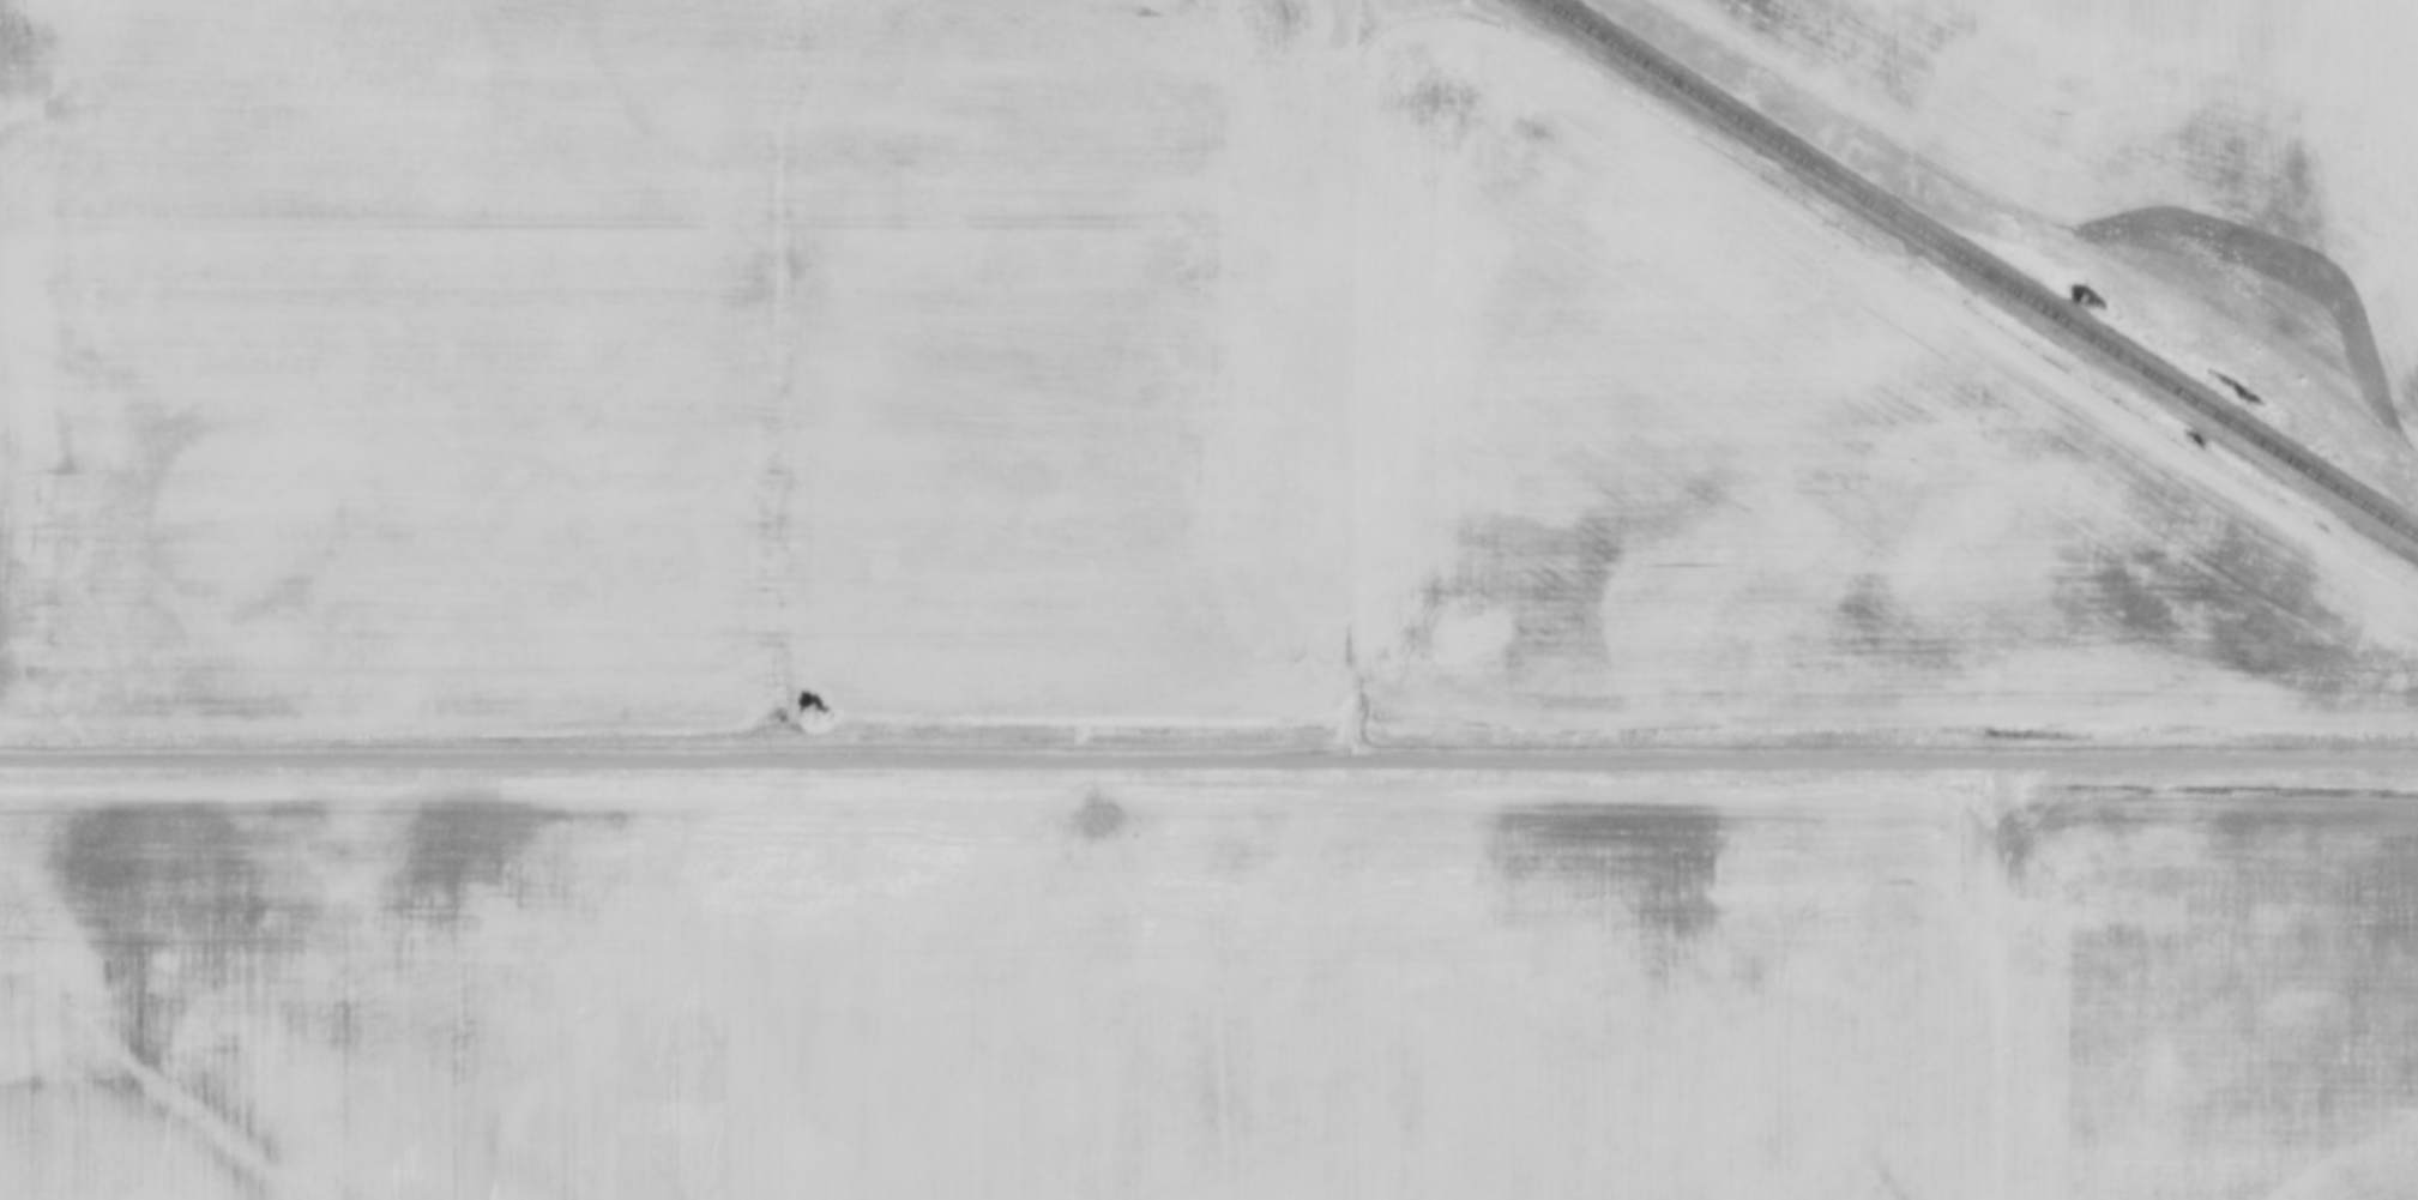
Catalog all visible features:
railway: (1977, 267)
road: (1323, 384)
road: (1208, 761)

